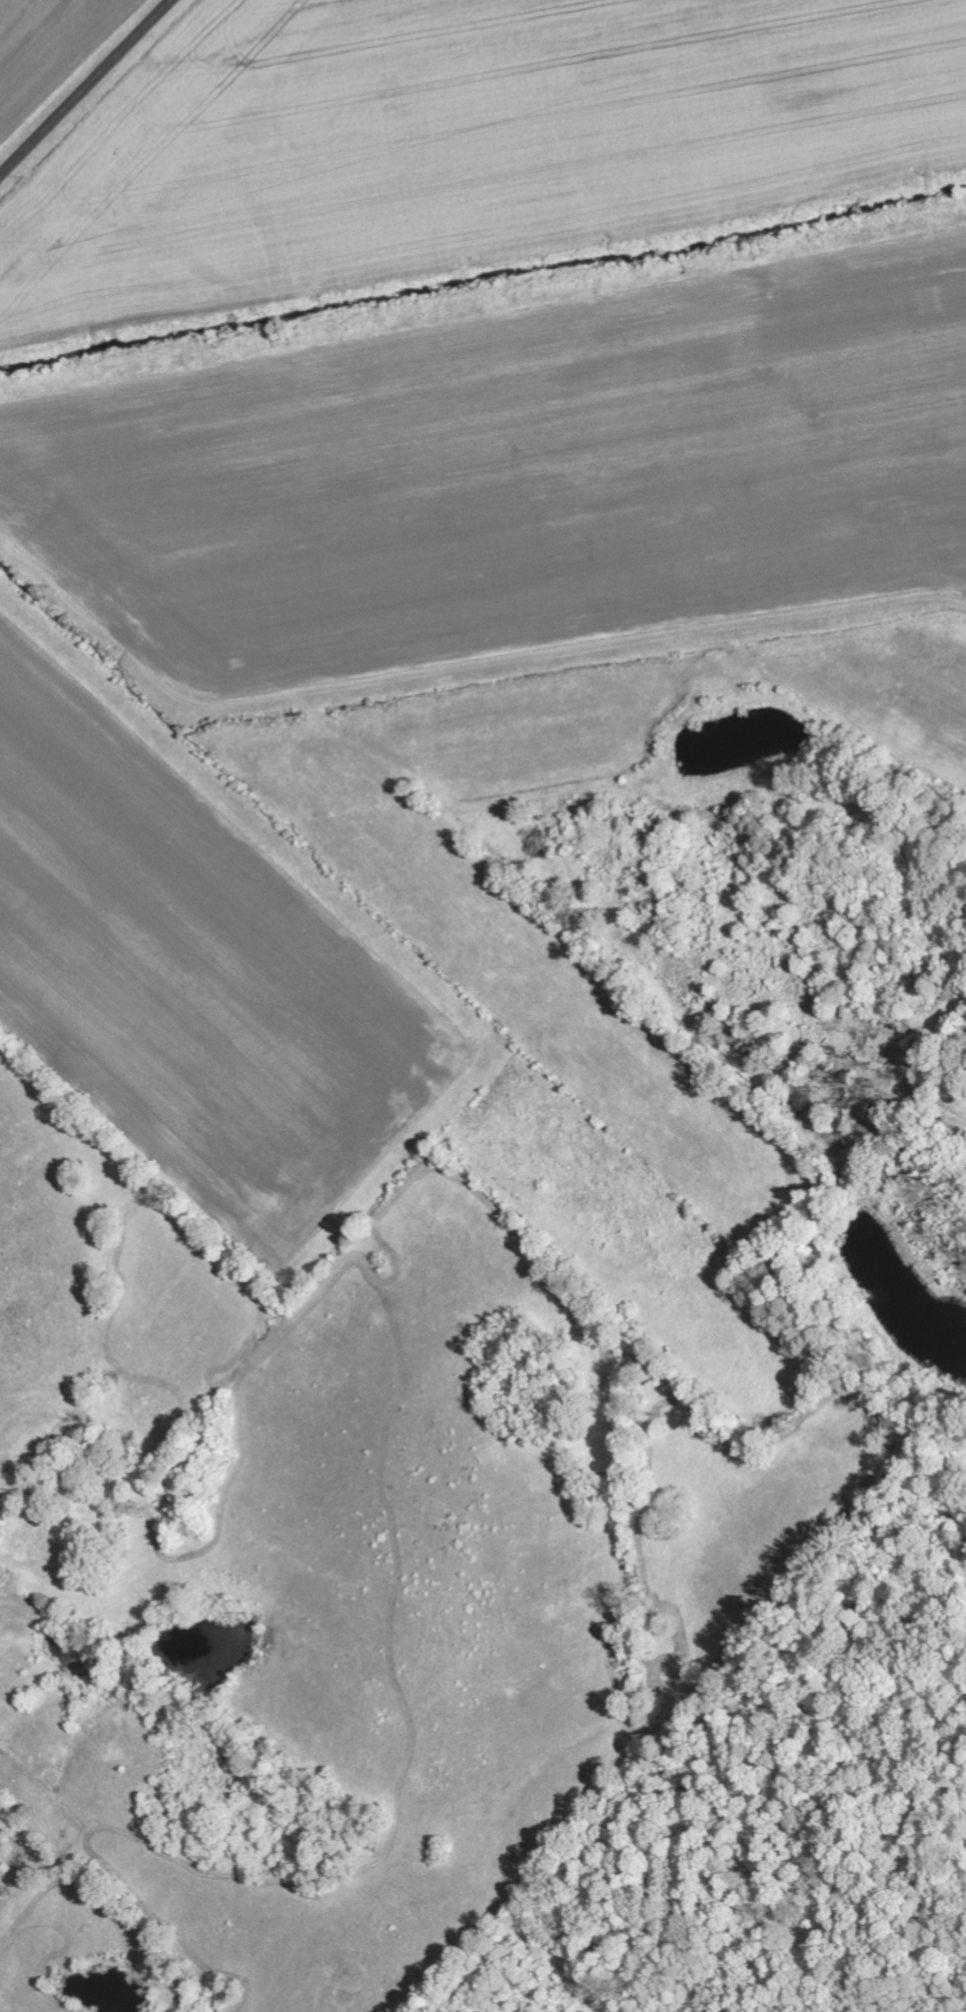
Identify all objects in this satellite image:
road: (86, 88)

